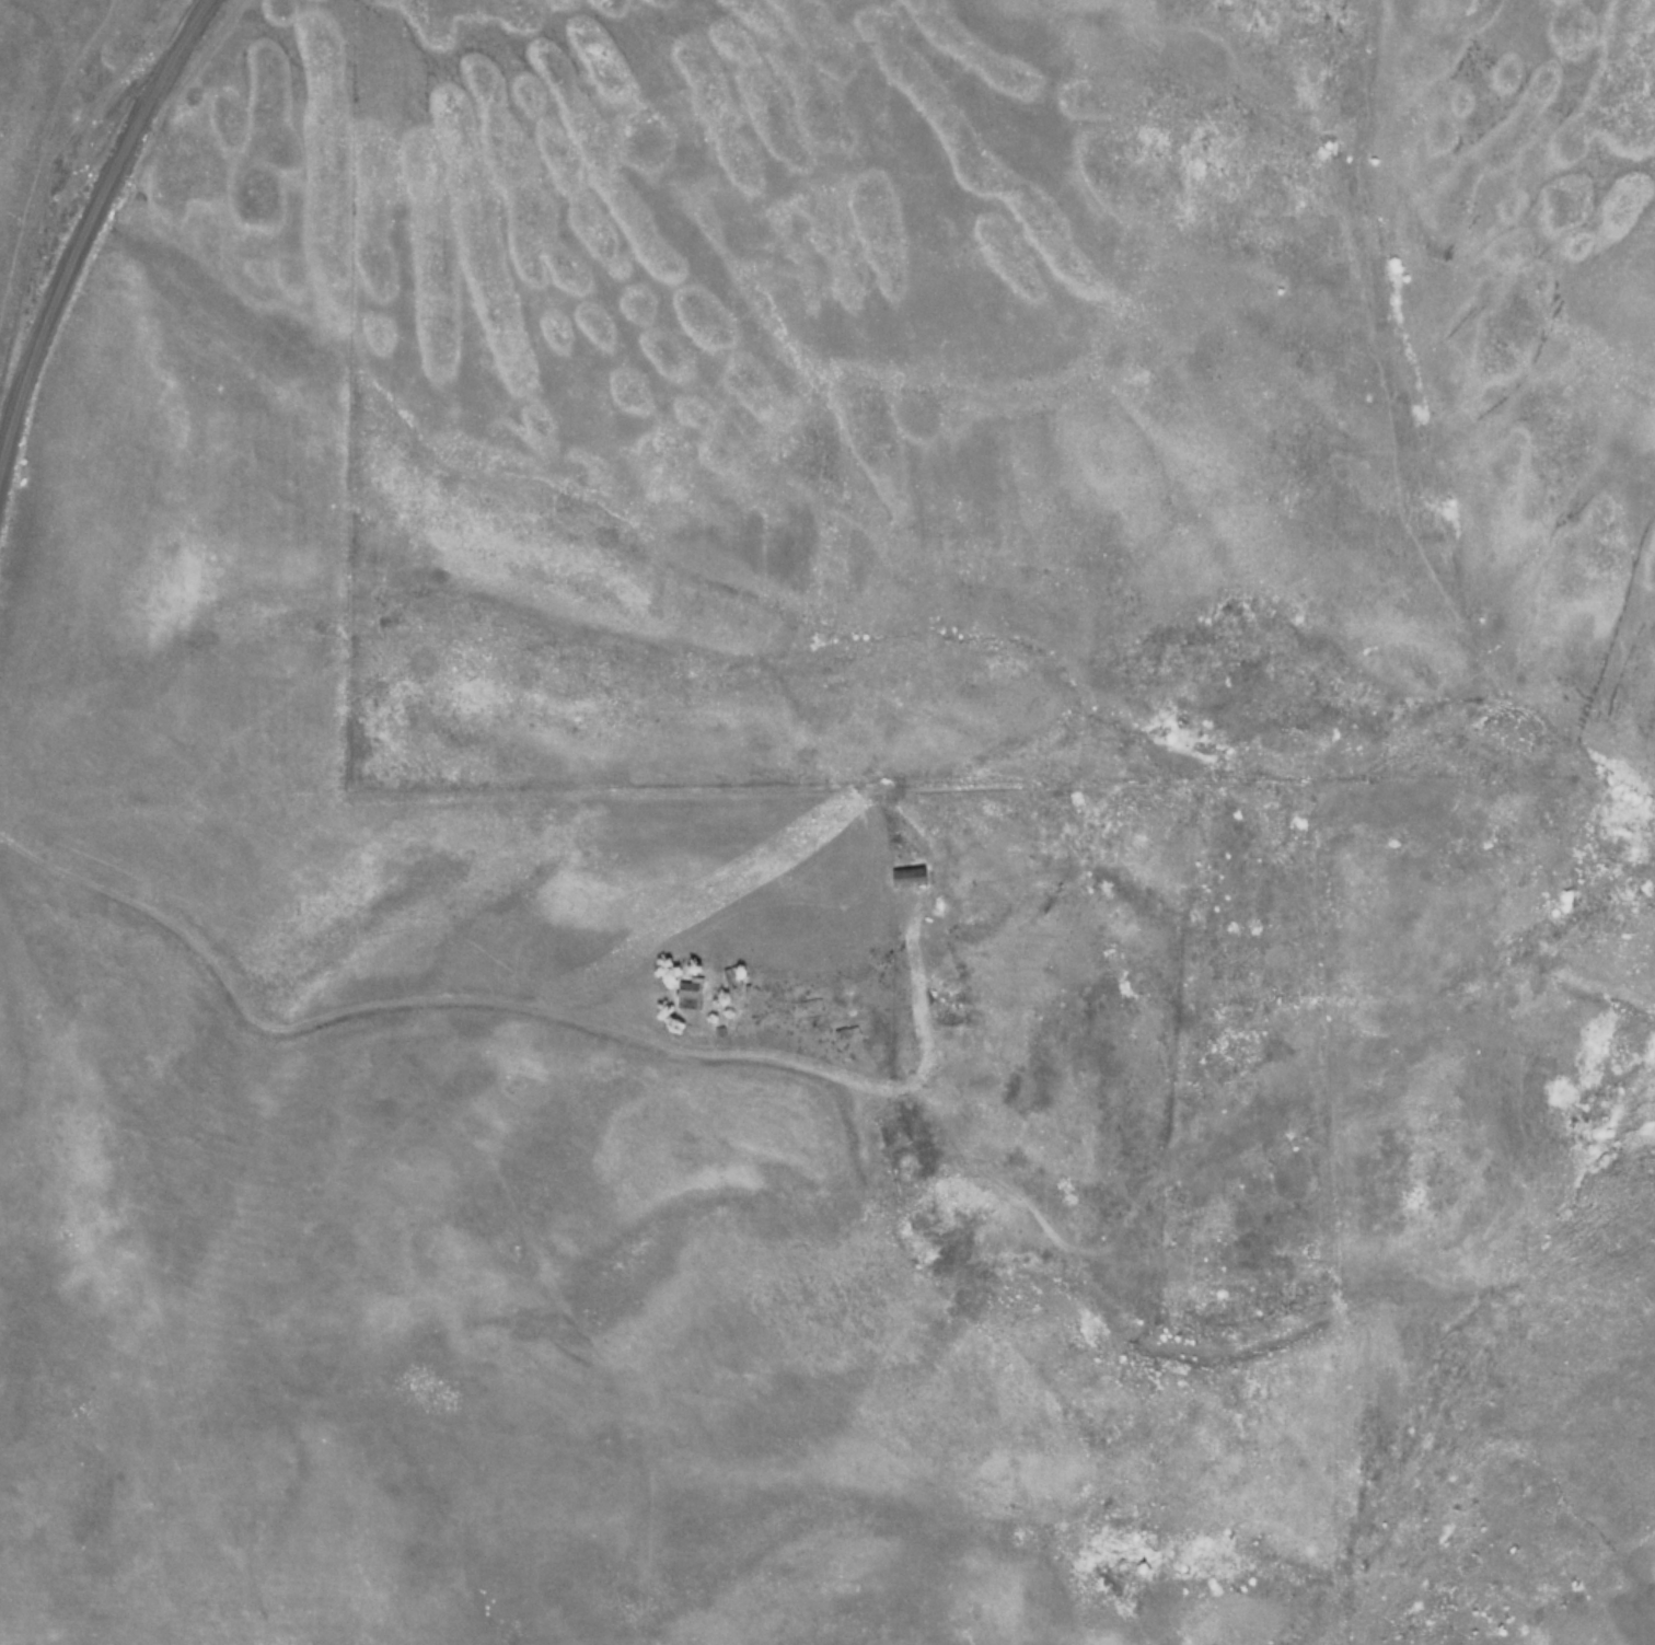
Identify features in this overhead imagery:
road: (84, 225)

